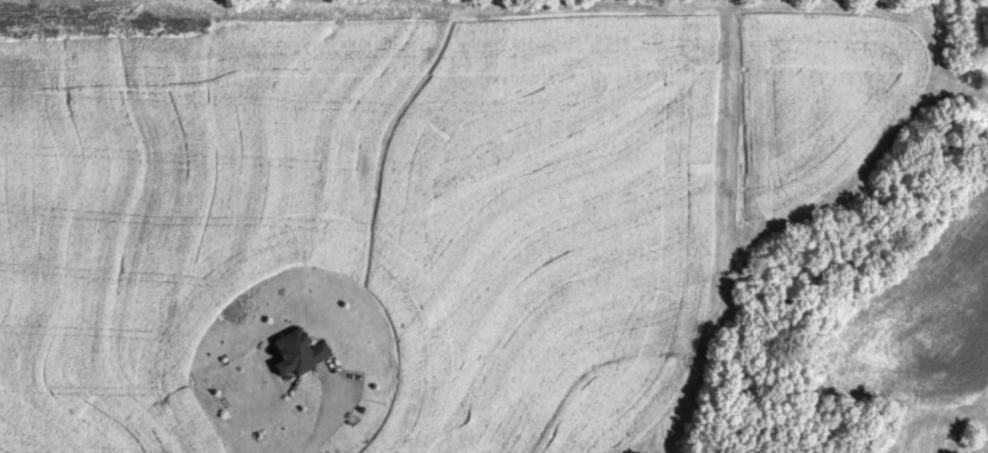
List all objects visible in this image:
park: (802, 0)
building: (301, 353)

